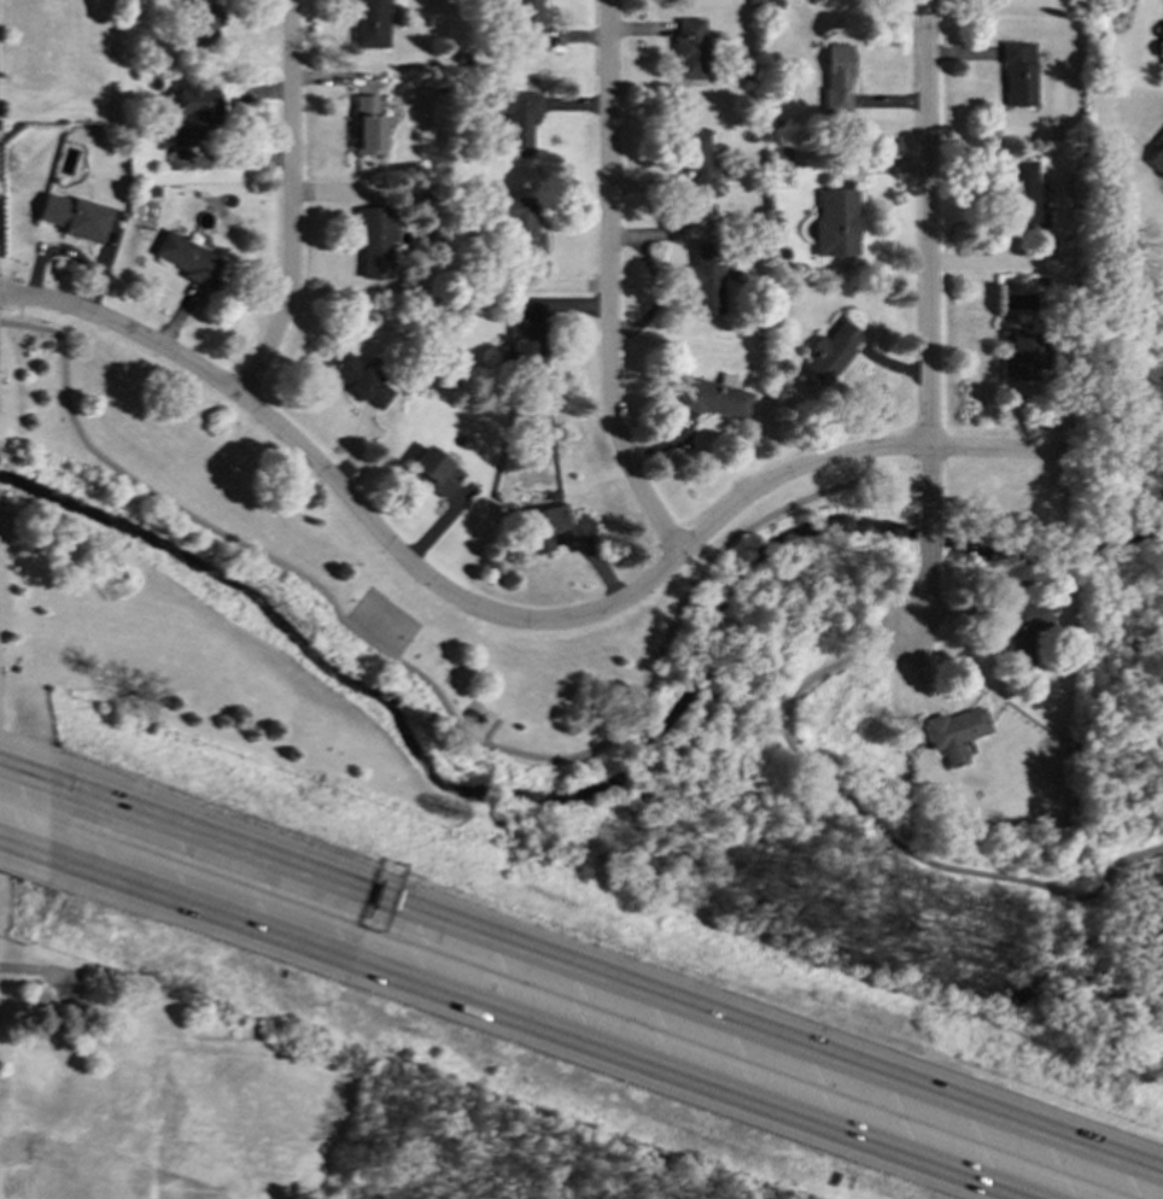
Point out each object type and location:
building: (525, 19)
building: (201, 21)
building: (370, 23)
building: (689, 47)
building: (1018, 72)
building: (837, 77)
building: (191, 111)
building: (515, 116)
building: (368, 125)
building: (1157, 157)
building: (697, 162)
building: (1024, 195)
road: (290, 204)
building: (71, 215)
building: (835, 222)
building: (518, 223)
building: (373, 242)
building: (186, 258)
building: (705, 279)
road: (608, 283)
road: (929, 322)
building: (522, 346)
building: (829, 352)
building: (1021, 356)
building: (360, 380)
building: (712, 397)
building: (432, 470)
building: (542, 526)
road: (507, 616)
park: (382, 620)
building: (1022, 628)
park: (547, 663)
park: (1121, 686)
road: (448, 710)
road: (489, 732)
building: (953, 732)
road: (884, 840)
road: (2, 842)
road: (18, 967)
road: (581, 977)
road: (513, 1020)
park: (276, 1107)

